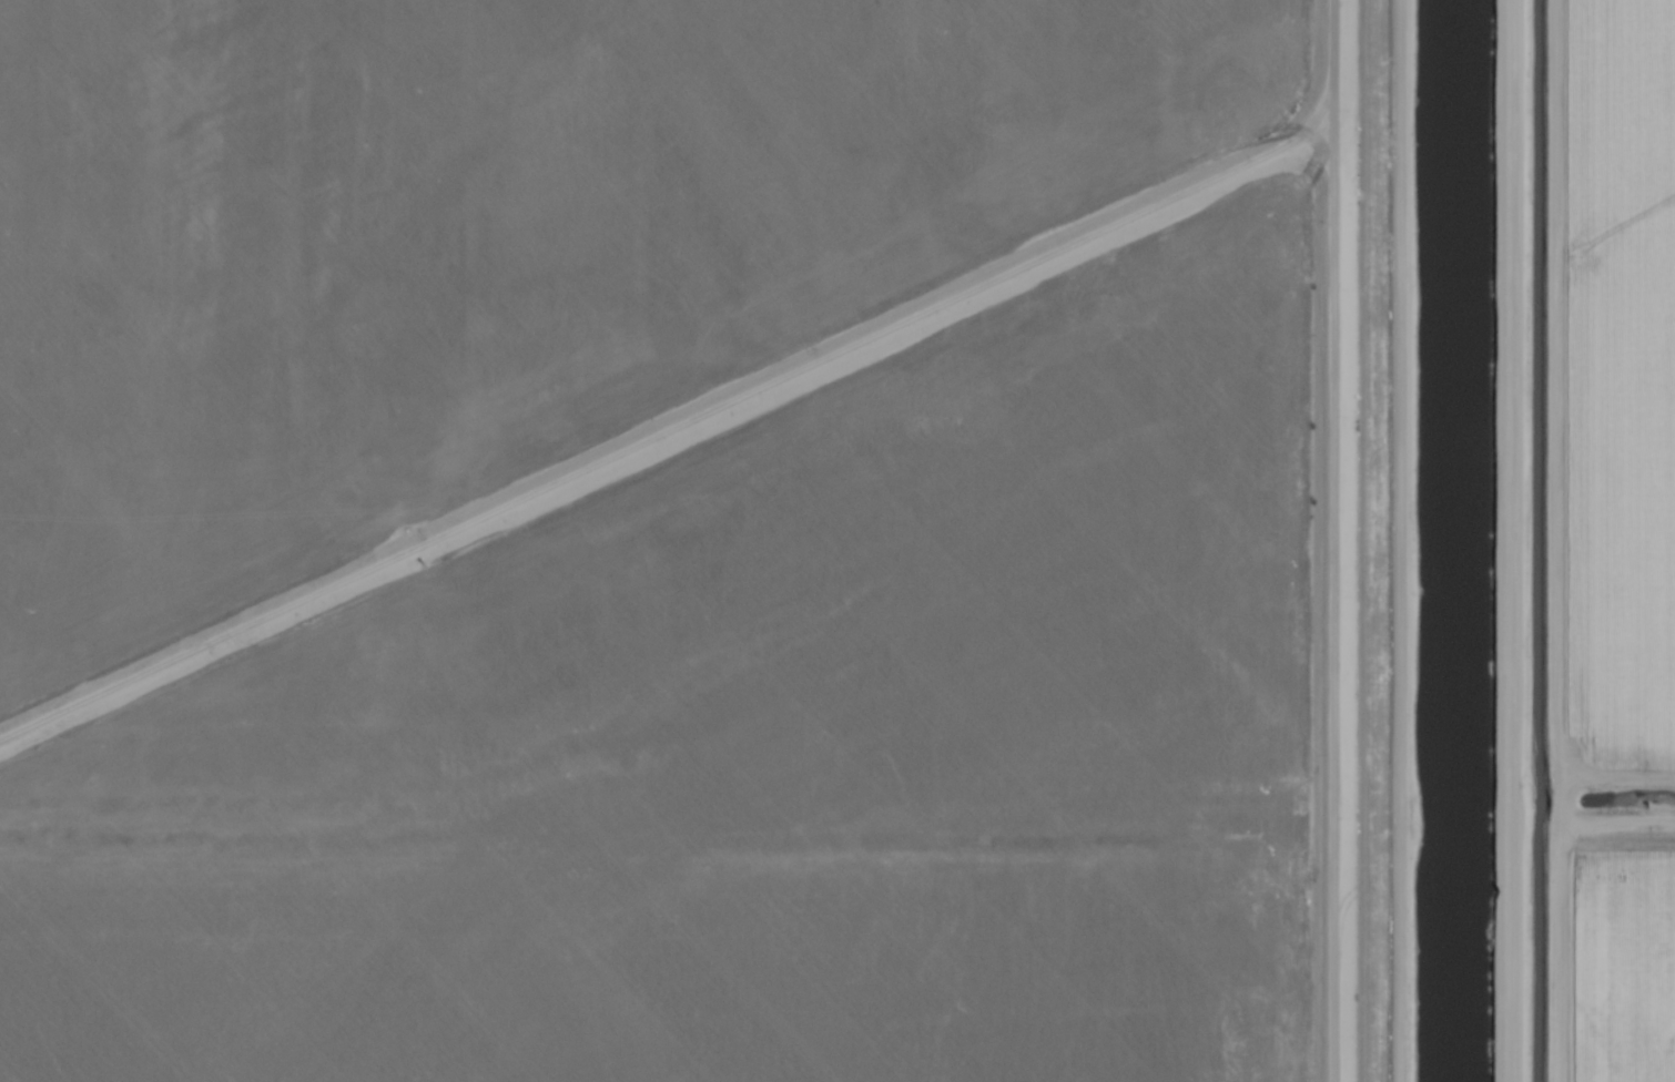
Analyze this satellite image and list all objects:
road: (1482, 541)
road: (1607, 779)

